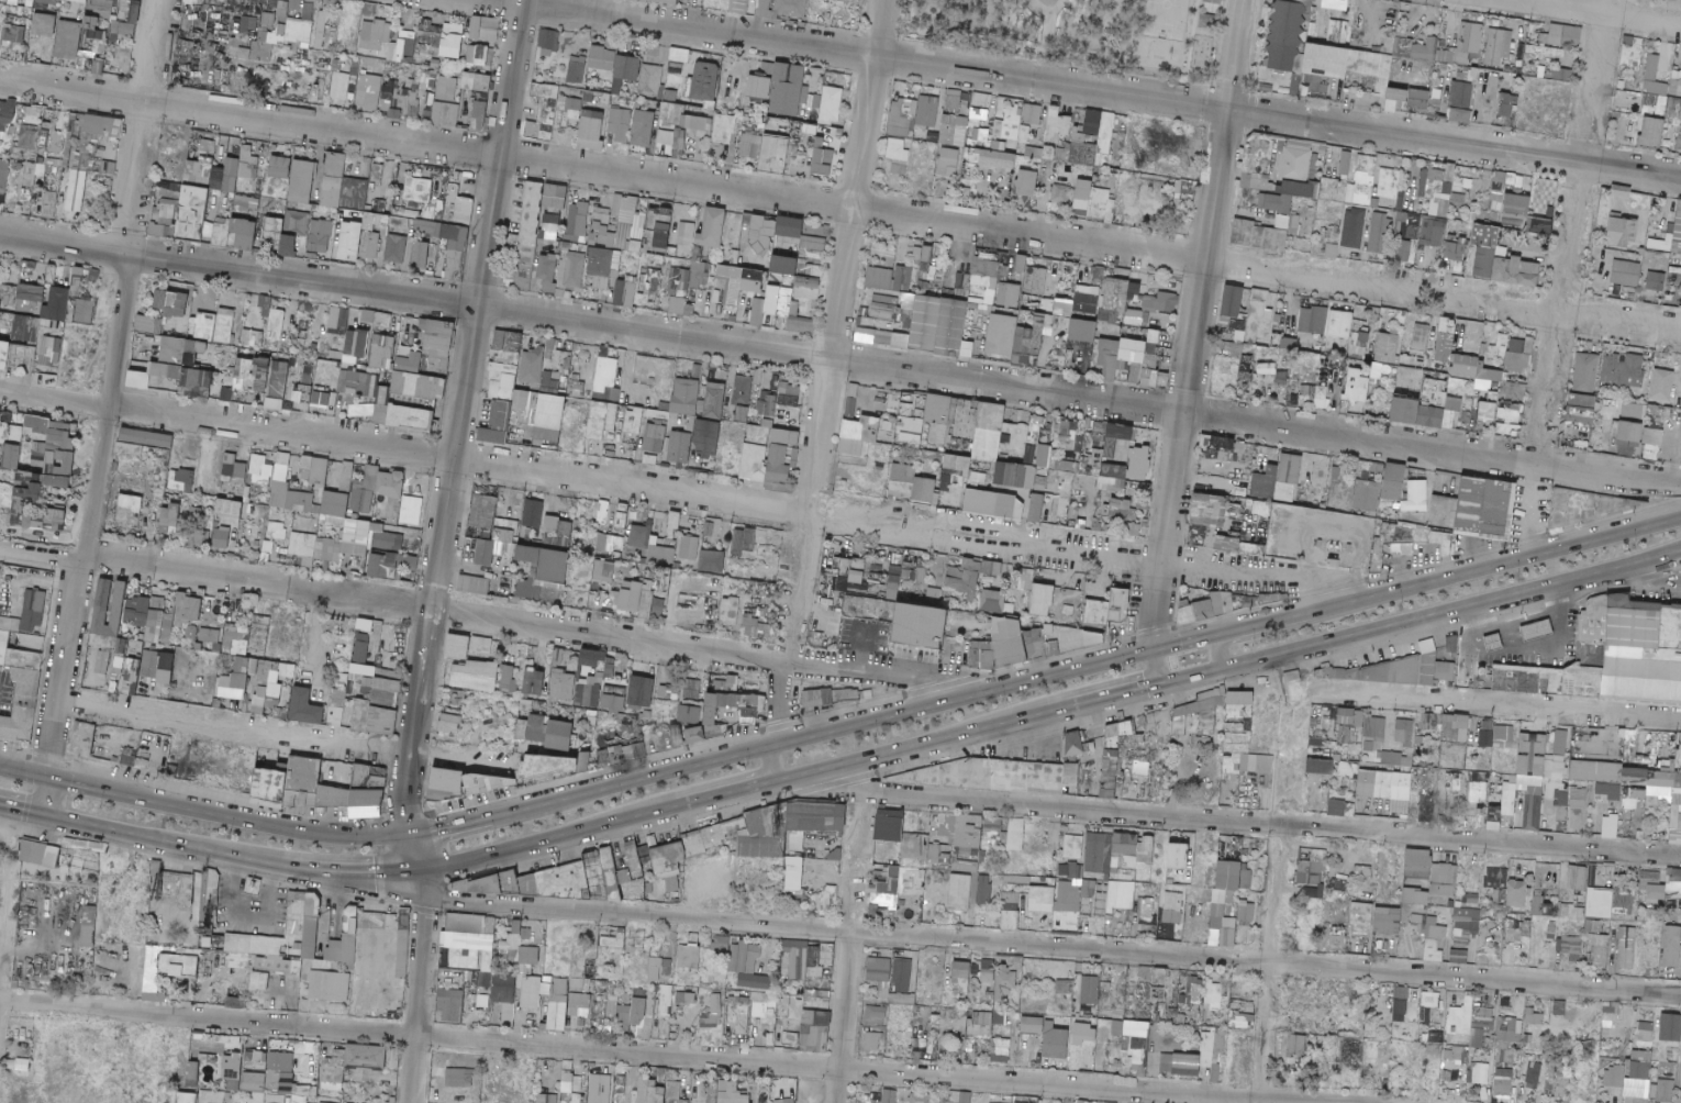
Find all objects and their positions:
park: (1078, 32)

